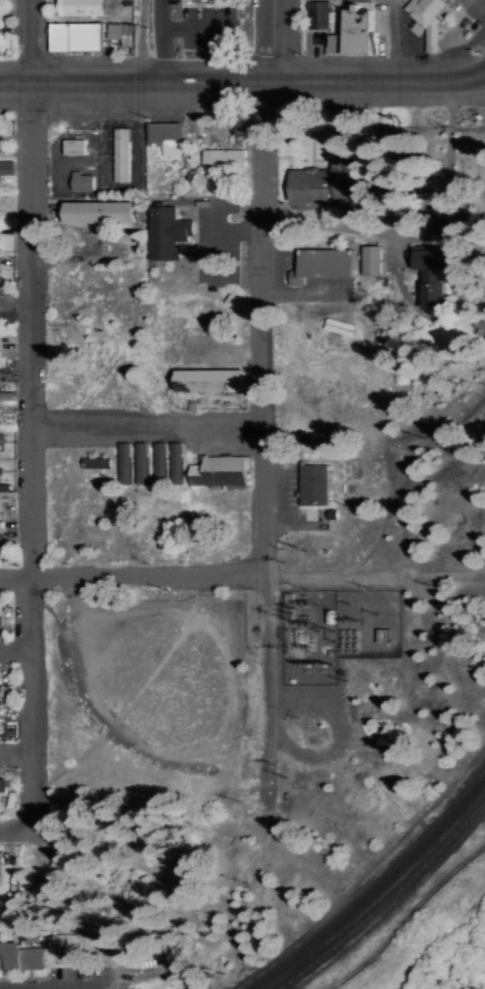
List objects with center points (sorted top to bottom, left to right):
building: (209, 0)
building: (83, 7)
building: (428, 10)
building: (123, 33)
building: (433, 37)
road: (144, 40)
road: (484, 71)
road: (484, 72)
road: (242, 81)
building: (162, 136)
building: (70, 145)
building: (118, 153)
building: (220, 157)
building: (6, 167)
building: (77, 180)
building: (315, 183)
building: (92, 211)
building: (162, 231)
building: (367, 259)
building: (316, 263)
road: (265, 287)
building: (429, 289)
building: (5, 302)
building: (203, 379)
road: (31, 420)
road: (147, 426)
building: (92, 461)
building: (173, 462)
building: (1, 469)
building: (216, 471)
building: (310, 484)
road: (200, 571)
building: (1, 619)
road: (273, 628)
road: (15, 647)
park: (145, 680)
building: (2, 691)
road: (16, 750)
building: (6, 785)
building: (0, 869)
railway: (371, 887)
railway: (386, 898)
building: (22, 956)
building: (140, 987)

